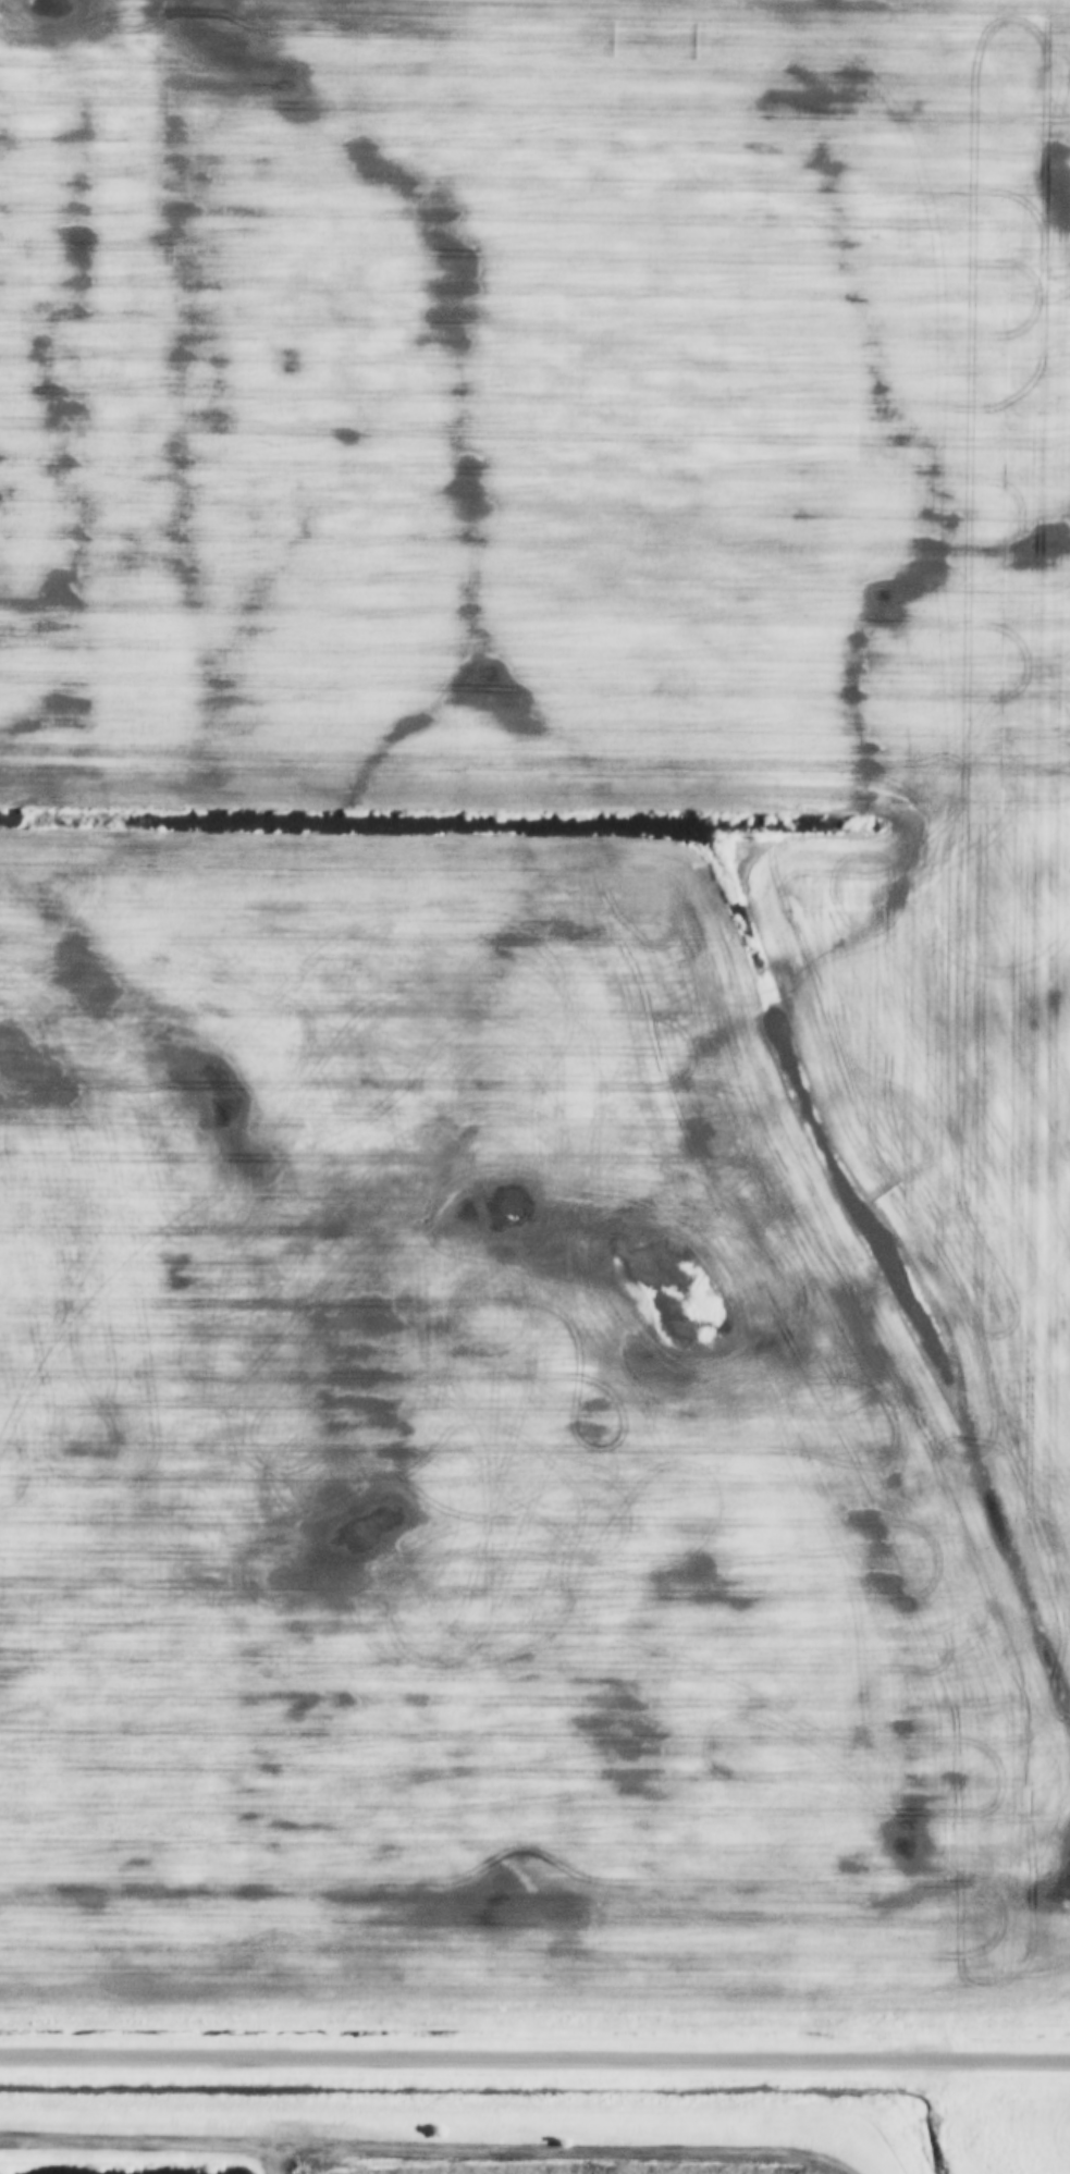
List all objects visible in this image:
road: (534, 2061)

